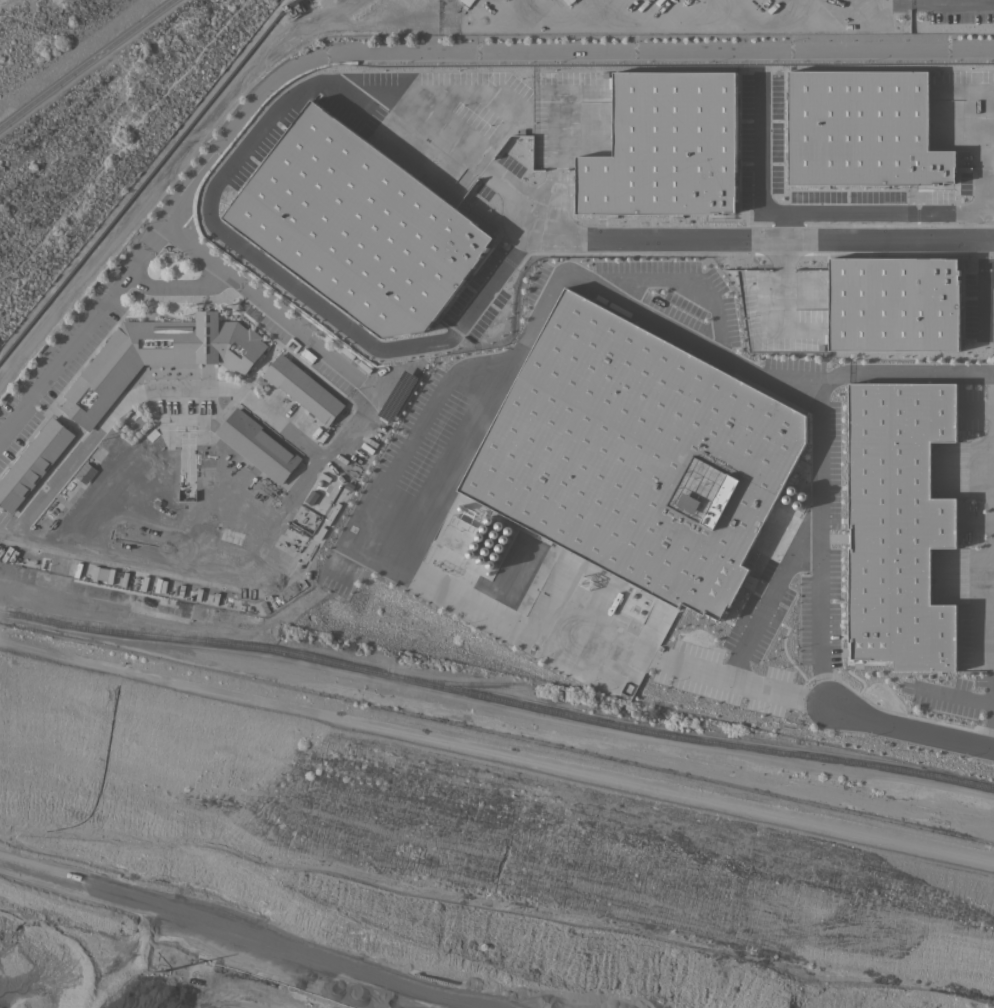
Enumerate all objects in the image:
parking lot: (956, 10)
road: (753, 19)
road: (536, 54)
road: (84, 61)
building: (861, 129)
building: (663, 146)
road: (241, 150)
road: (812, 211)
road: (784, 224)
building: (356, 225)
road: (762, 237)
road: (492, 279)
road: (671, 280)
road: (172, 284)
building: (892, 303)
road: (80, 333)
parking lot: (297, 336)
building: (158, 357)
parking lot: (55, 365)
road: (991, 386)
road: (142, 389)
building: (303, 389)
building: (257, 445)
building: (638, 455)
building: (33, 462)
road: (303, 475)
parking lot: (4, 521)
building: (898, 527)
building: (106, 579)
road: (770, 593)
railway: (474, 681)
road: (742, 681)
road: (958, 695)
railway: (496, 698)
road: (910, 726)
road: (993, 744)
quarry: (446, 860)

